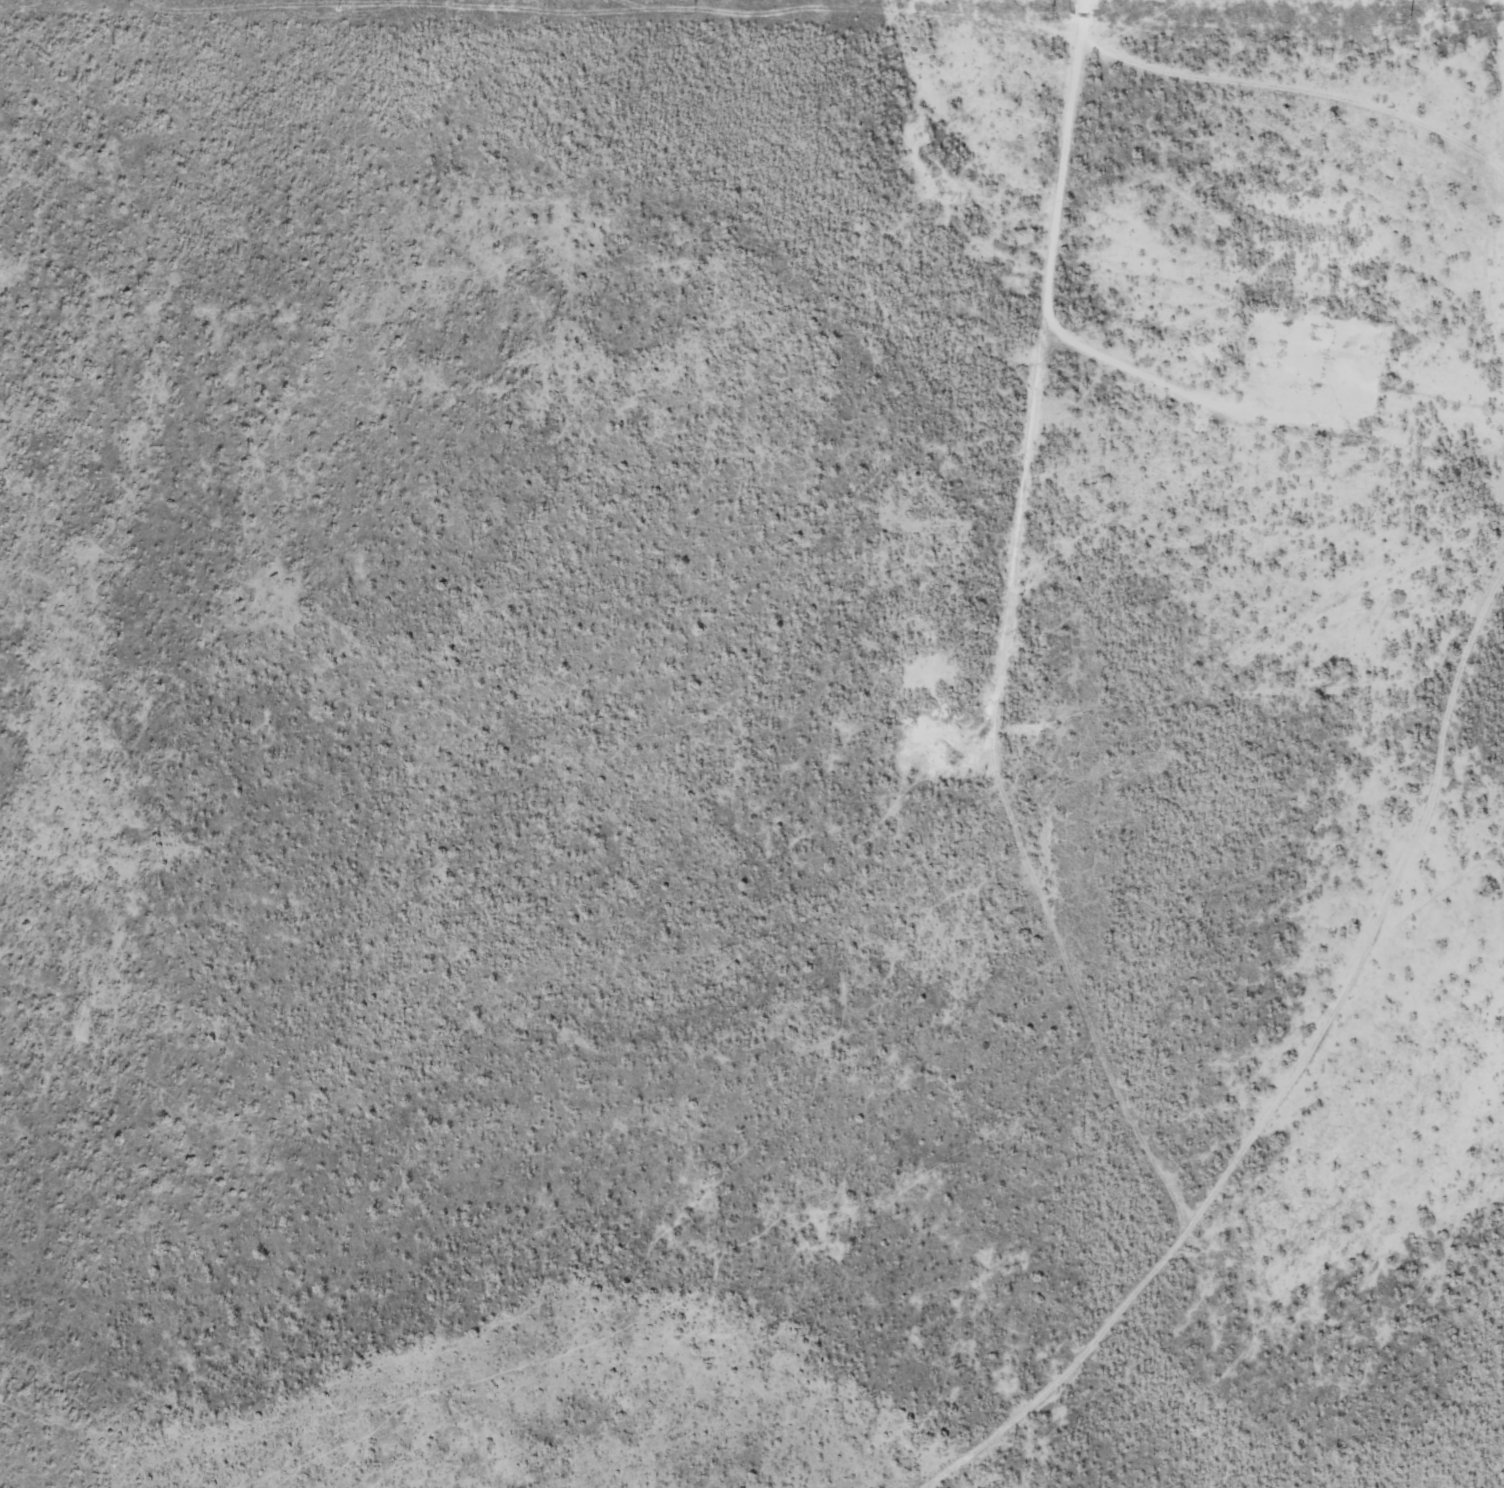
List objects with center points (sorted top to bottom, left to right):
power tower: (335, 4)
power tower: (693, 9)
power tower: (1051, 14)
power tower: (1408, 20)
road: (1316, 1066)
road: (1401, 1115)

